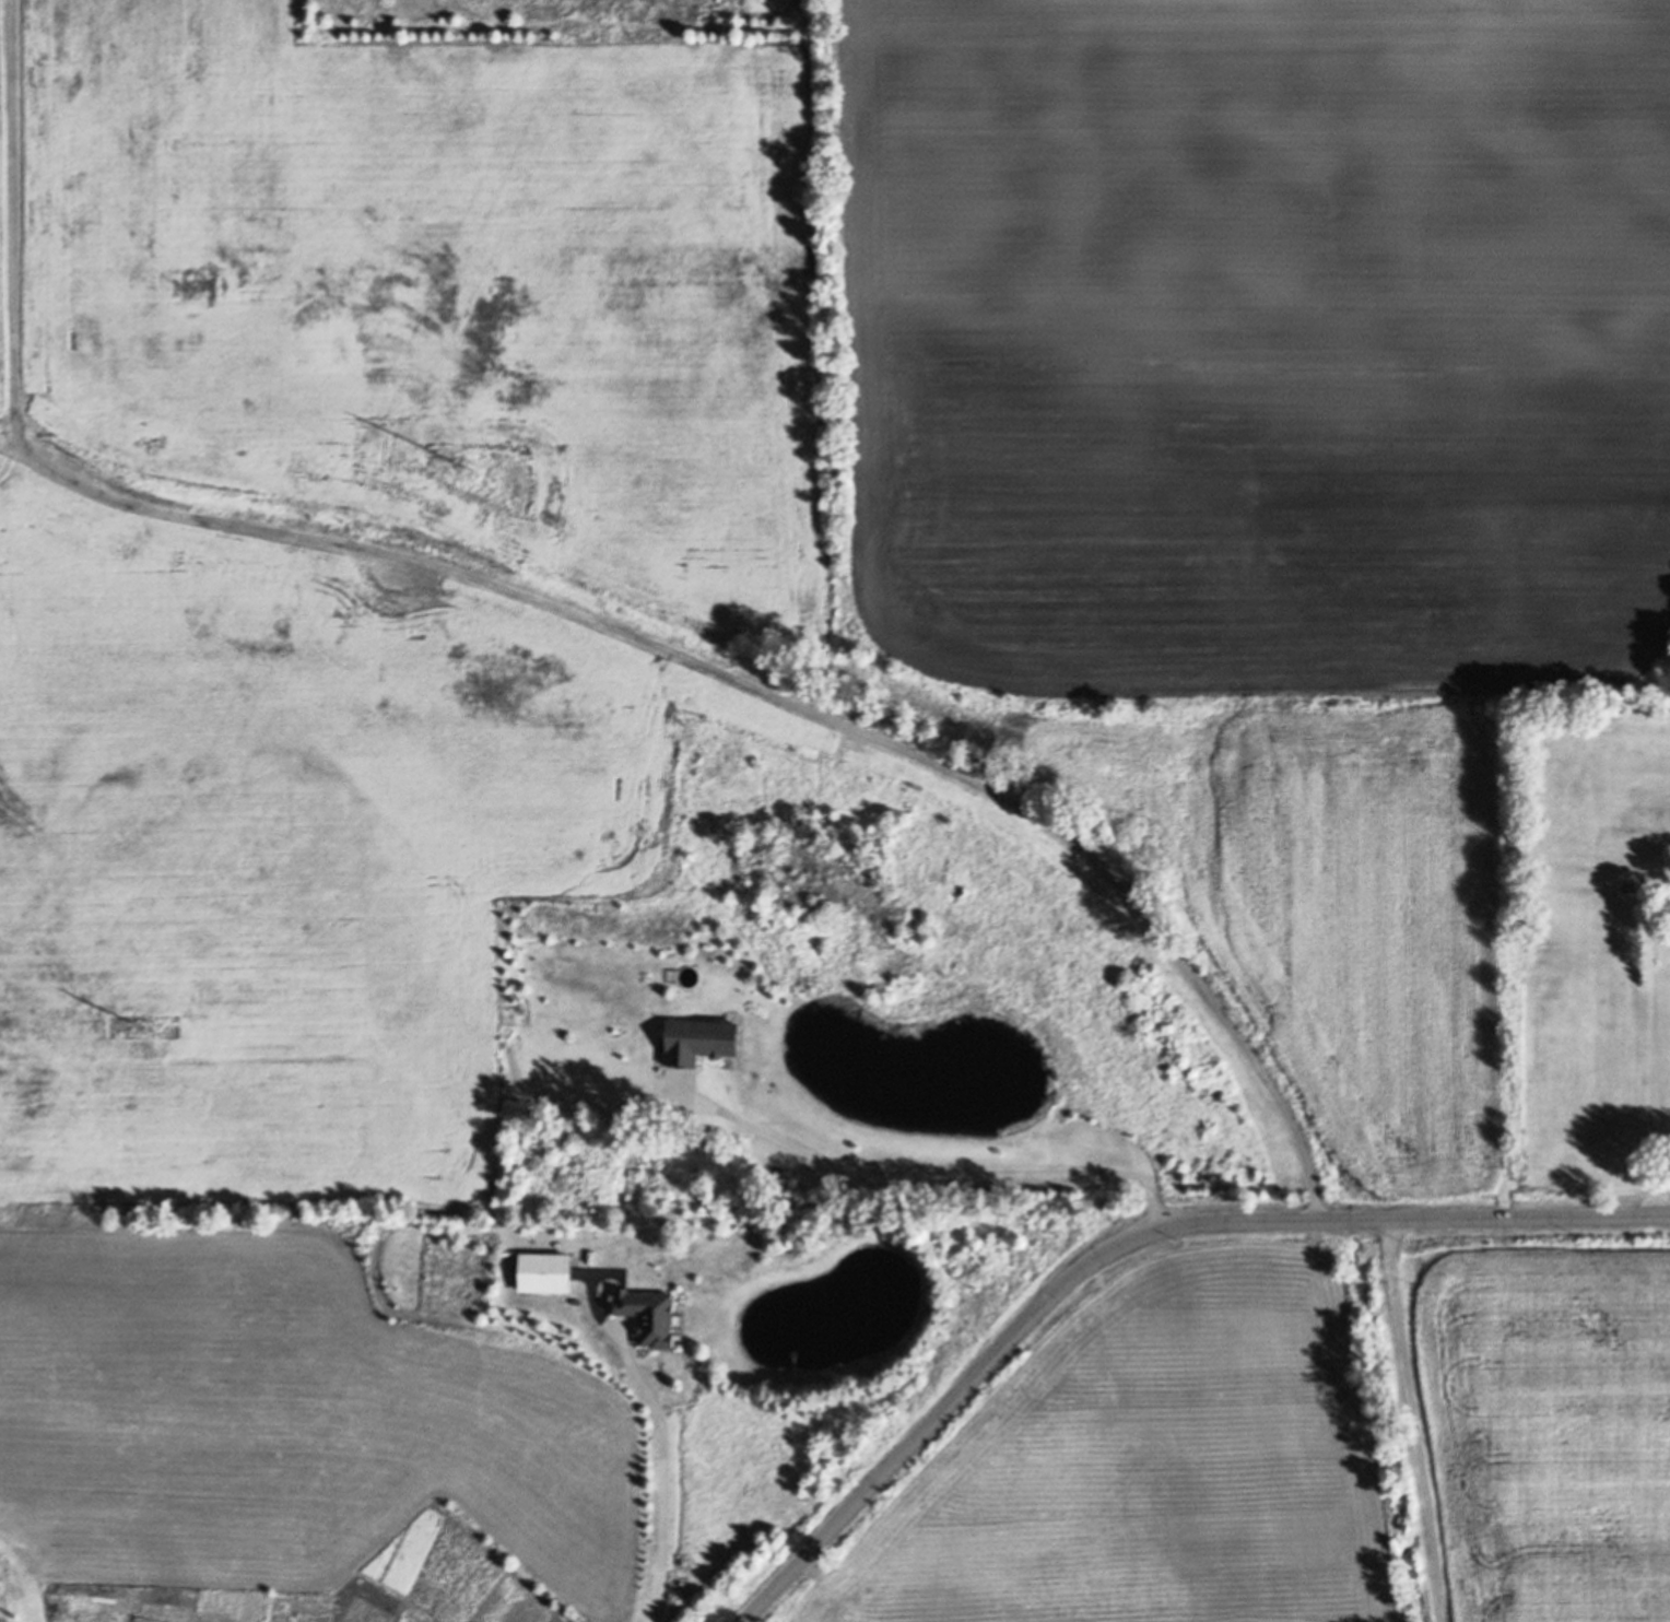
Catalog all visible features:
power tower: (452, 458)
road: (566, 606)
building: (627, 933)
power tower: (145, 1027)
building: (698, 1041)
road: (933, 1163)
road: (1129, 1241)
building: (544, 1271)
building: (649, 1314)
building: (677, 1319)
building: (790, 1373)
road: (1425, 1421)
road: (658, 1466)

